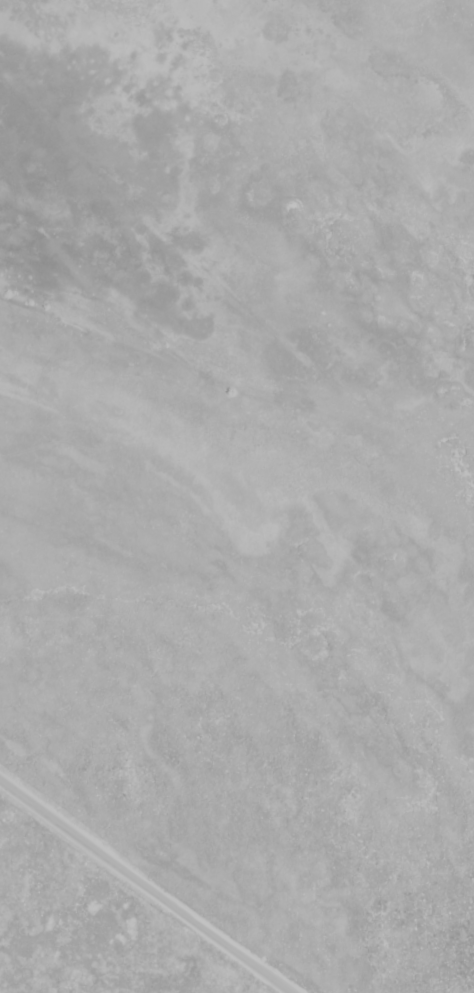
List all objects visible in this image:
park: (456, 382)
park: (228, 652)
road: (146, 886)
park: (82, 933)

